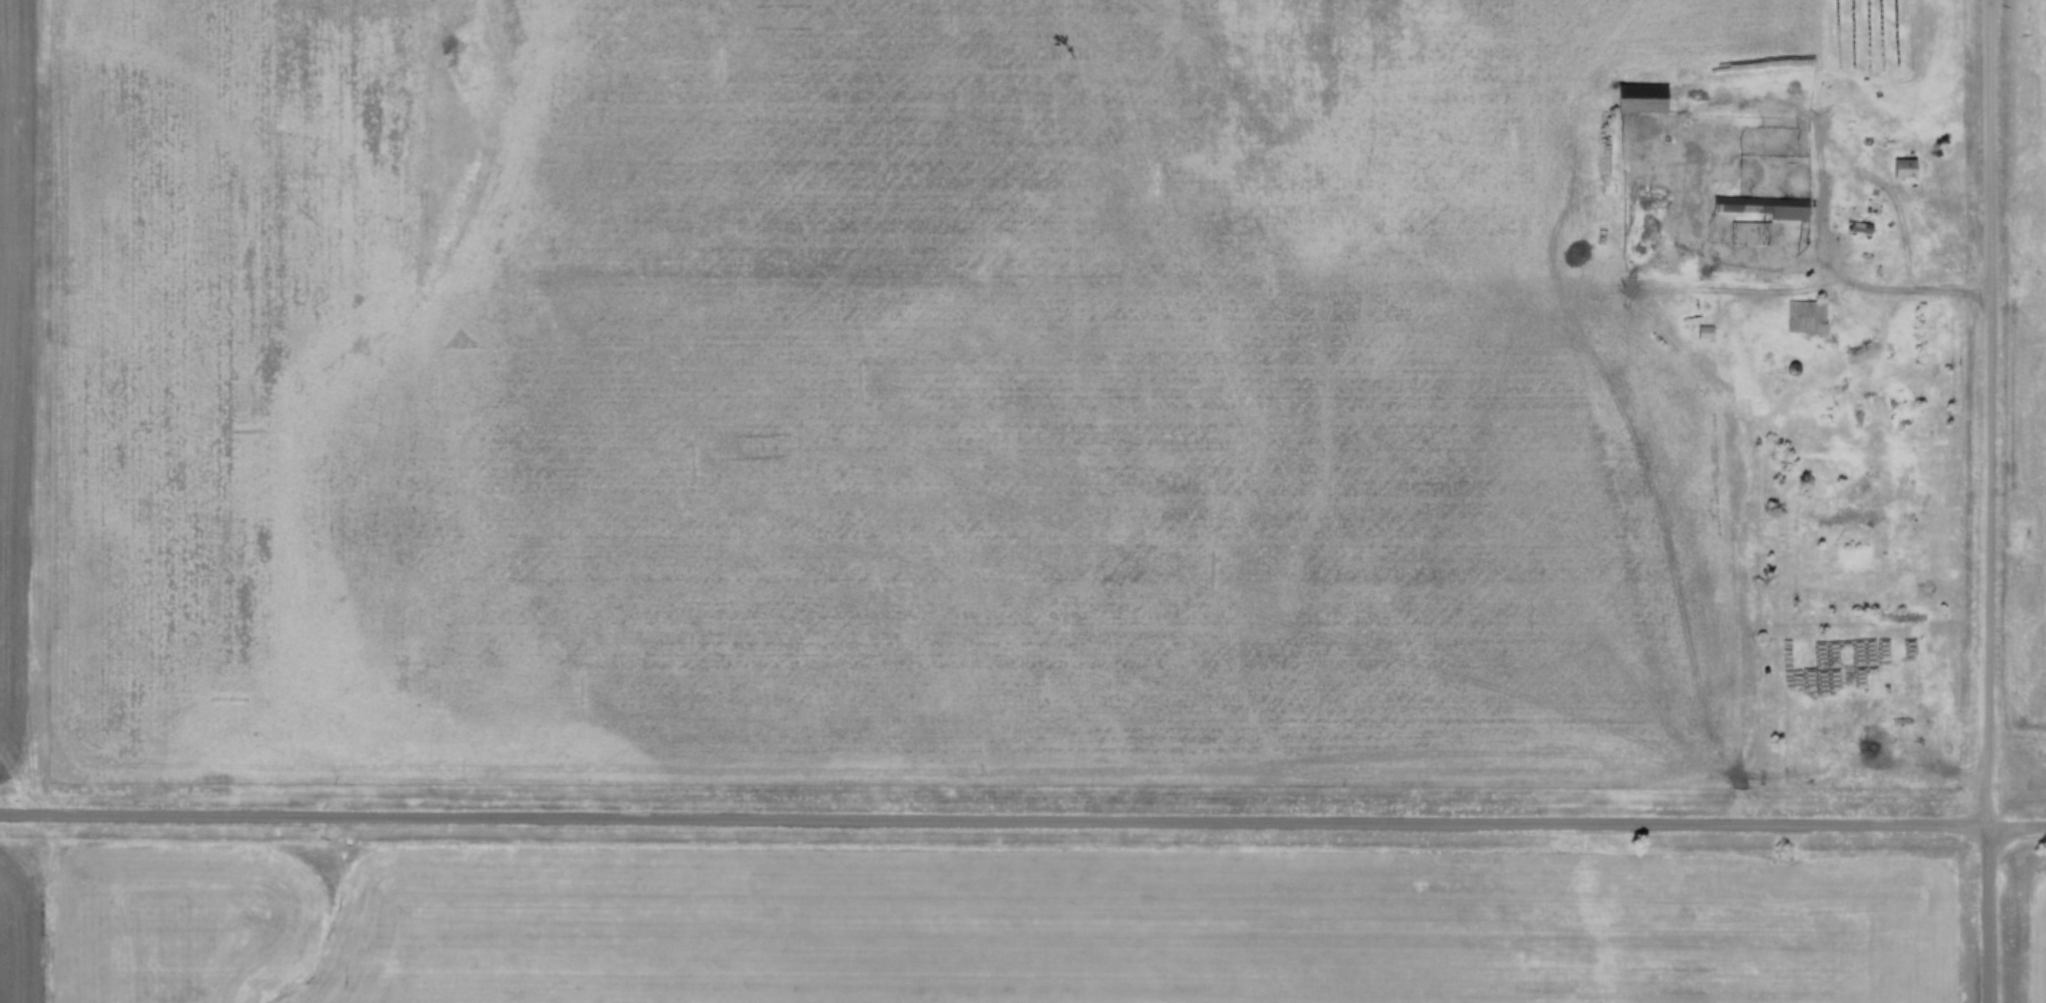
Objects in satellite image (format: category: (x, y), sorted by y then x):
building: (1641, 100)
road: (1841, 146)
building: (1902, 170)
road: (1908, 197)
building: (1763, 208)
building: (1860, 229)
building: (1753, 245)
building: (1804, 320)
road: (38, 408)
road: (1990, 501)
building: (1943, 508)
road: (993, 824)
road: (2016, 829)

